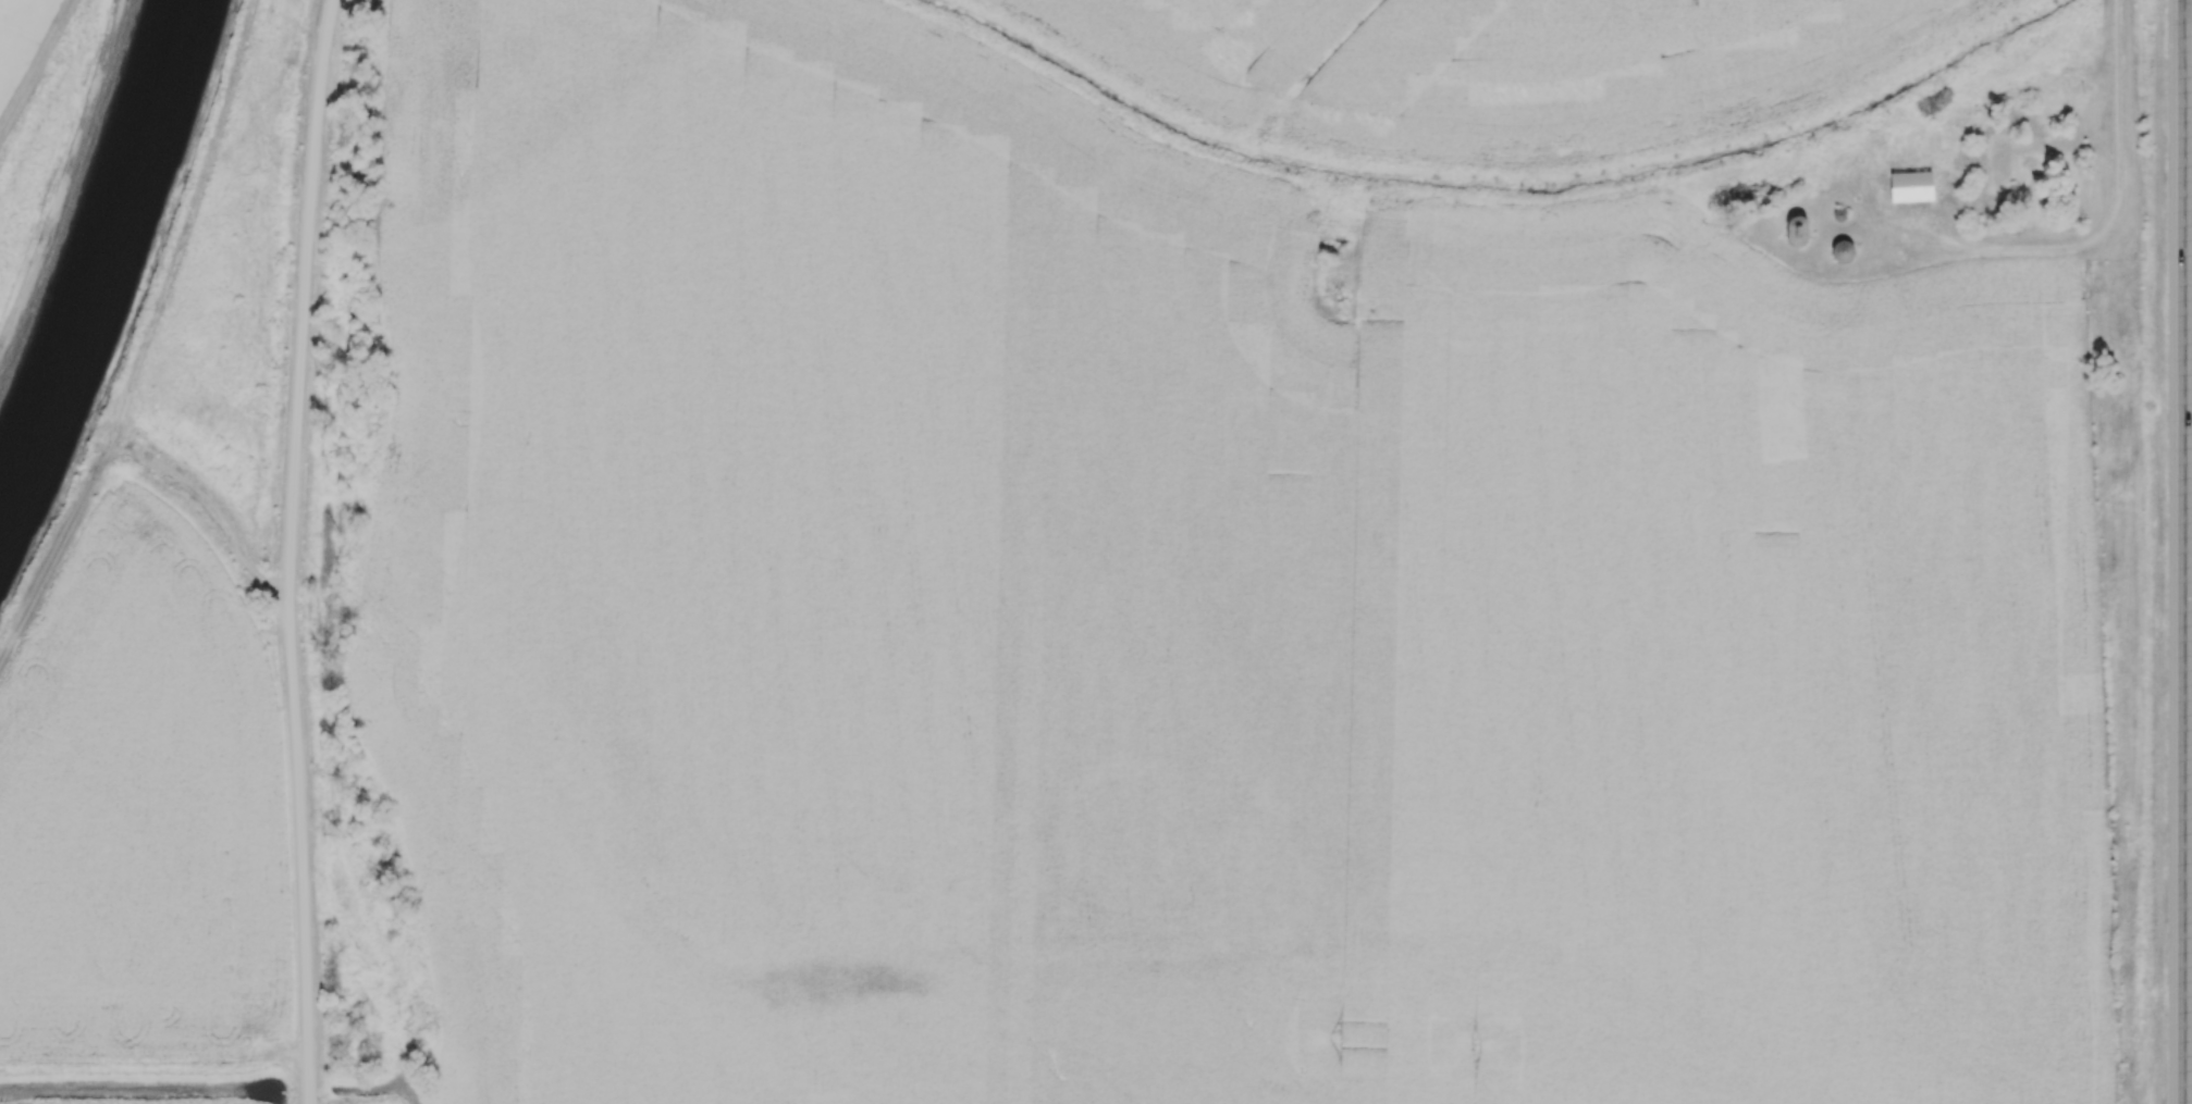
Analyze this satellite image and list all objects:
road: (2118, 110)
building: (2002, 165)
building: (1916, 186)
river: (93, 244)
road: (291, 550)
road: (2184, 551)
crop: (1183, 615)

